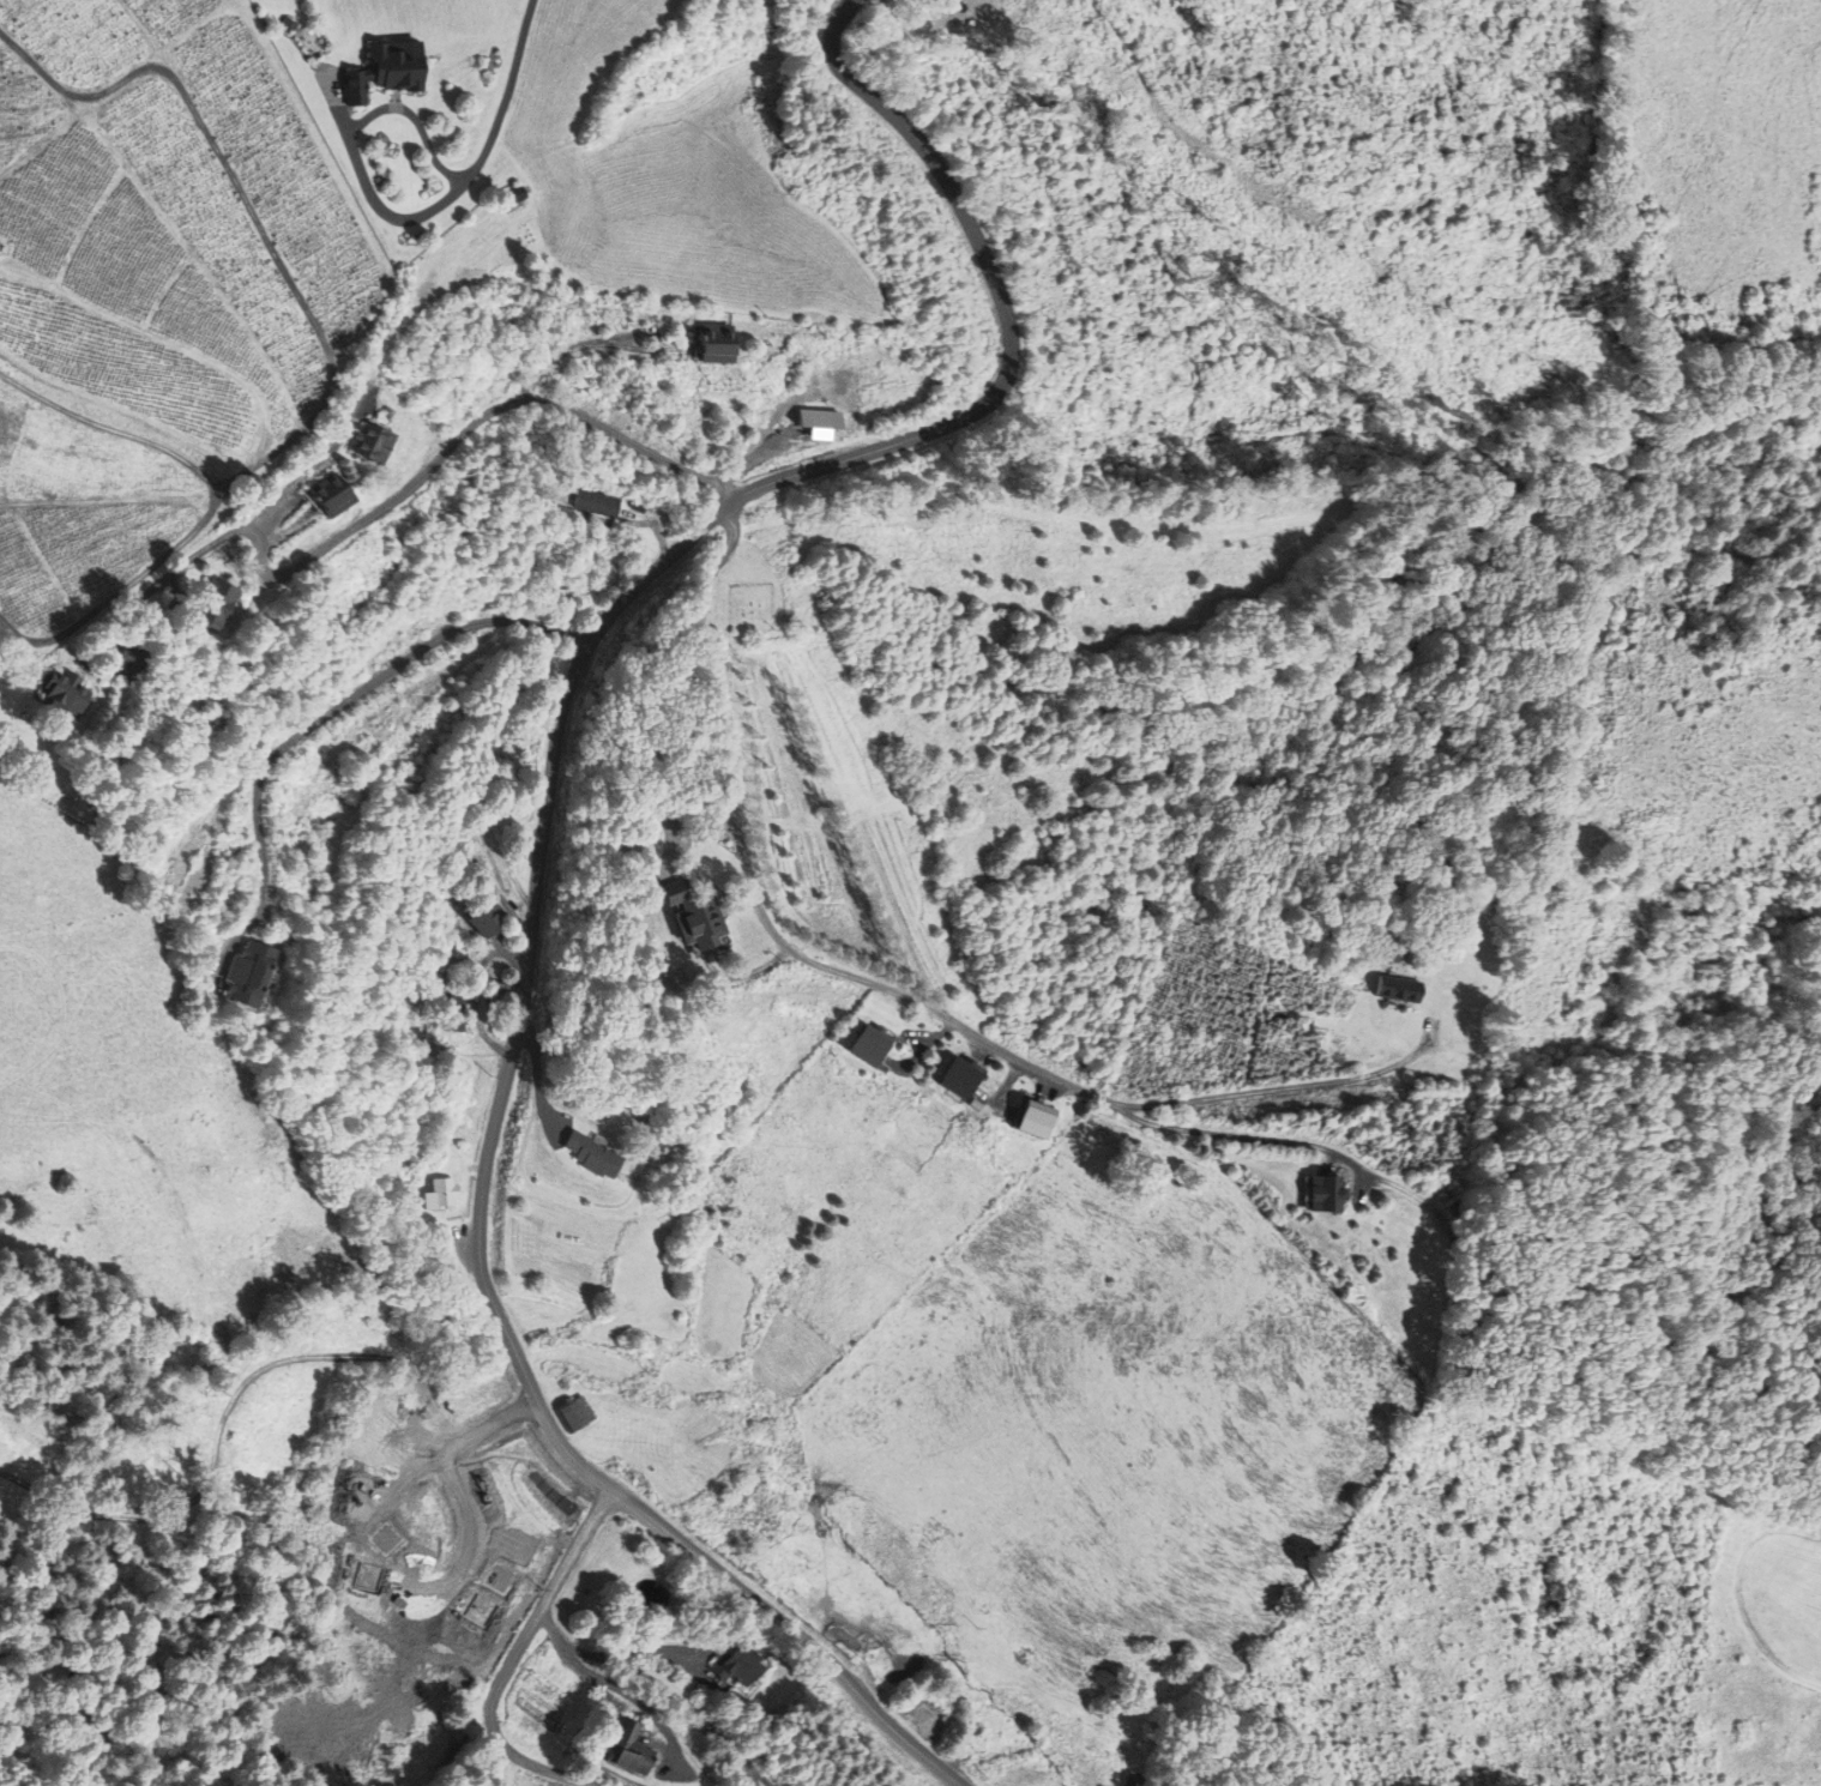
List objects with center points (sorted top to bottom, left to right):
building: (386, 70)
road: (506, 97)
road: (354, 138)
building: (512, 195)
road: (318, 330)
road: (585, 342)
building: (712, 343)
building: (819, 417)
road: (104, 424)
road: (339, 441)
building: (368, 442)
road: (446, 449)
road: (221, 481)
building: (541, 490)
road: (212, 493)
building: (328, 494)
building: (596, 502)
building: (638, 506)
road: (167, 575)
building: (213, 603)
park: (752, 607)
building: (127, 663)
building: (64, 693)
road: (327, 716)
road: (544, 832)
road: (754, 898)
building: (694, 915)
building: (482, 922)
building: (245, 973)
building: (1397, 990)
building: (499, 991)
building: (458, 1003)
building: (870, 1046)
building: (959, 1079)
road: (1270, 1091)
building: (1036, 1120)
road: (1231, 1135)
building: (592, 1154)
building: (438, 1194)
building: (1328, 1195)
road: (234, 1399)
building: (575, 1413)
road: (454, 1478)
building: (385, 1541)
building: (366, 1576)
building: (499, 1579)
road: (1737, 1597)
building: (480, 1610)
park: (1762, 1648)
road: (515, 1654)
building: (734, 1664)
road: (664, 1684)
building: (628, 1748)

